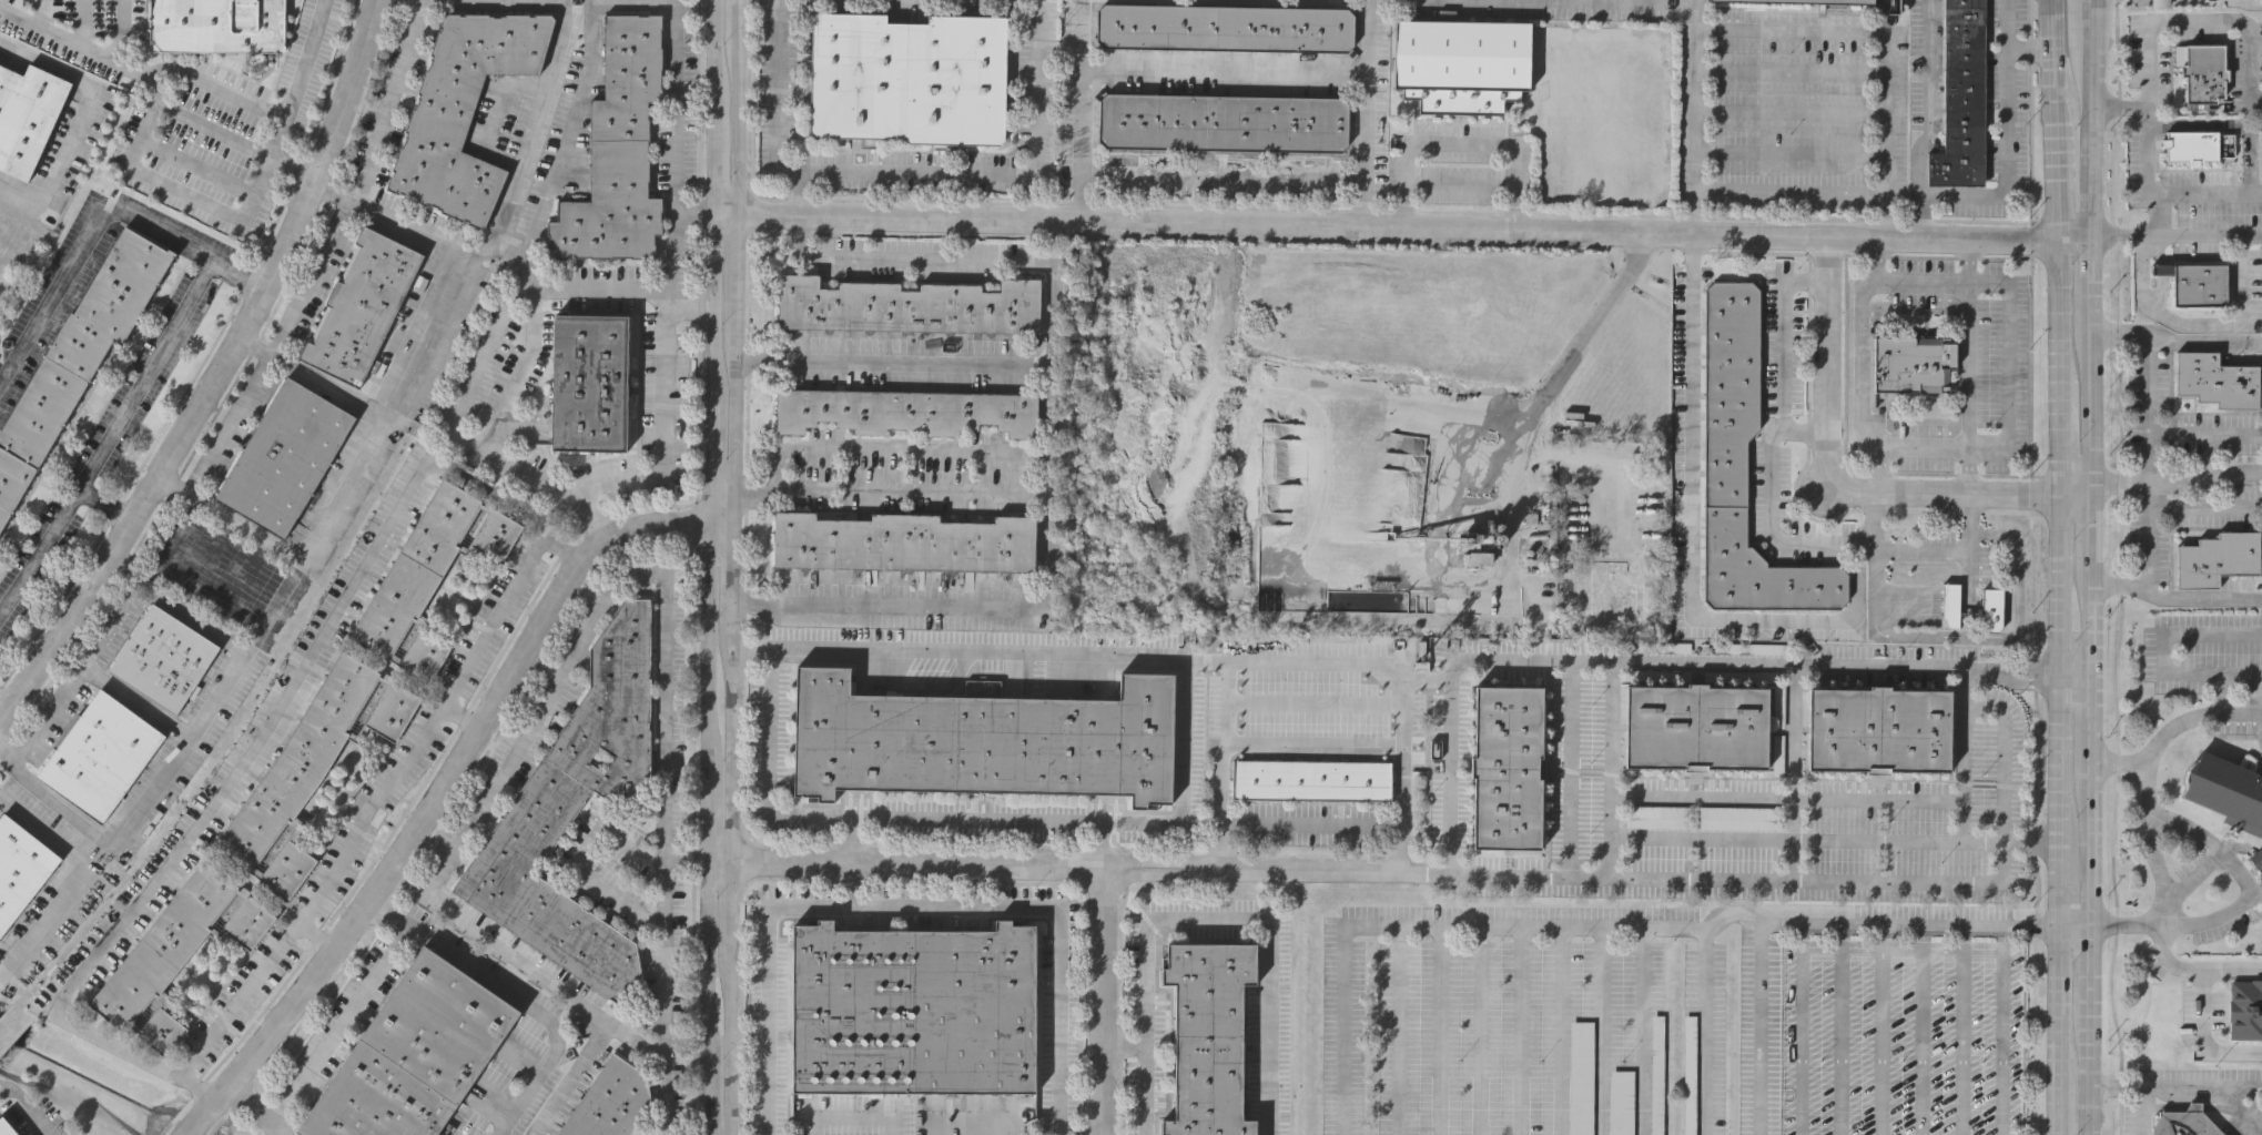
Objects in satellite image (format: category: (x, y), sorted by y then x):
building: (1838, 0)
road: (2252, 2)
road: (684, 4)
road: (599, 6)
road: (2085, 10)
road: (34, 13)
road: (2164, 19)
road: (74, 23)
road: (2008, 24)
building: (217, 26)
building: (1224, 27)
road: (116, 34)
road: (1883, 43)
road: (2086, 44)
road: (2030, 48)
building: (1461, 63)
road: (1226, 70)
building: (2200, 74)
building: (909, 79)
road: (142, 80)
road: (296, 80)
road: (213, 85)
road: (1037, 88)
road: (2254, 93)
building: (1959, 98)
road: (773, 99)
road: (386, 101)
road: (491, 108)
road: (1081, 110)
building: (463, 112)
road: (1370, 113)
building: (26, 115)
road: (77, 118)
building: (1223, 123)
road: (1460, 144)
building: (2195, 148)
building: (617, 152)
road: (2087, 153)
road: (519, 165)
road: (190, 170)
road: (292, 172)
road: (917, 173)
road: (1225, 176)
road: (2188, 193)
road: (177, 194)
road: (1936, 194)
building: (187, 196)
road: (2150, 214)
road: (1919, 216)
road: (1402, 227)
road: (84, 236)
road: (2174, 236)
road: (1053, 242)
road: (1968, 259)
road: (955, 262)
road: (242, 283)
road: (2087, 283)
building: (2198, 283)
road: (623, 287)
road: (663, 295)
building: (363, 305)
building: (907, 306)
road: (1696, 307)
road: (2200, 323)
road: (2173, 338)
road: (254, 344)
road: (1578, 347)
building: (77, 358)
building: (1914, 361)
road: (523, 363)
road: (936, 363)
road: (1968, 363)
road: (262, 368)
road: (217, 373)
road: (139, 376)
building: (2218, 381)
road: (327, 382)
building: (589, 382)
road: (2146, 407)
road: (2086, 409)
road: (665, 411)
building: (906, 411)
road: (457, 429)
road: (2204, 434)
road: (1772, 436)
road: (1981, 447)
road: (994, 448)
building: (286, 455)
building: (1744, 464)
road: (353, 467)
road: (1876, 468)
road: (1969, 469)
road: (2183, 478)
road: (413, 482)
road: (1837, 484)
road: (2097, 487)
road: (758, 493)
road: (100, 506)
road: (2204, 507)
road: (1971, 513)
road: (1875, 518)
road: (2088, 531)
road: (2147, 531)
road: (169, 540)
building: (903, 543)
road: (1924, 546)
road: (35, 547)
road: (561, 551)
building: (1478, 556)
building: (2218, 558)
road: (126, 567)
road: (711, 567)
road: (734, 567)
road: (2063, 567)
building: (429, 576)
road: (2173, 594)
building: (1951, 605)
building: (1994, 607)
road: (1772, 616)
road: (587, 625)
road: (2089, 625)
road: (109, 628)
road: (1980, 637)
road: (74, 646)
building: (1313, 647)
road: (2160, 649)
building: (165, 659)
road: (1814, 675)
road: (1311, 676)
road: (2077, 680)
road: (135, 699)
road: (2, 707)
road: (212, 708)
building: (1311, 708)
road: (2238, 712)
road: (465, 713)
road: (1453, 716)
road: (2091, 720)
building: (1698, 726)
building: (1878, 729)
building: (985, 739)
road: (1312, 739)
road: (2156, 747)
building: (101, 753)
road: (1964, 760)
building: (1508, 766)
road: (452, 771)
road: (1566, 771)
building: (308, 772)
road: (1606, 773)
building: (1312, 778)
road: (1793, 778)
building: (2227, 790)
road: (1179, 795)
road: (1785, 798)
road: (59, 804)
building: (574, 812)
building: (1655, 817)
building: (1734, 818)
road: (1312, 823)
road: (848, 835)
road: (1833, 841)
road: (2091, 842)
road: (1100, 843)
building: (2255, 858)
road: (580, 863)
road: (907, 863)
road: (2157, 867)
building: (21, 868)
road: (1358, 874)
road: (81, 875)
road: (1906, 882)
road: (2248, 886)
road: (688, 893)
road: (912, 906)
road: (1793, 912)
road: (1209, 918)
road: (1423, 928)
road: (317, 935)
building: (176, 952)
road: (2168, 954)
road: (2089, 965)
road: (2230, 972)
road: (516, 996)
road: (1107, 1004)
building: (915, 1007)
building: (2246, 1010)
road: (341, 1023)
road: (1759, 1023)
road: (1798, 1024)
road: (1839, 1025)
road: (1880, 1025)
road: (1401, 1031)
road: (1444, 1032)
road: (1484, 1033)
road: (1525, 1033)
road: (1565, 1034)
road: (1602, 1034)
road: (1644, 1035)
building: (1208, 1036)
road: (2202, 1037)
road: (638, 1041)
road: (1127, 1043)
building: (414, 1057)
road: (2087, 1071)
building: (1656, 1074)
parking lot: (1656, 1074)
building: (1690, 1075)
parking lot: (1690, 1075)
building: (1581, 1077)
parking lot: (1581, 1077)
road: (2174, 1085)
building: (609, 1102)
building: (1621, 1102)
parking lot: (1621, 1102)
road: (30, 1107)
road: (258, 1109)
road: (2141, 1109)
road: (197, 1119)
building: (2183, 1124)
building: (8, 1126)

